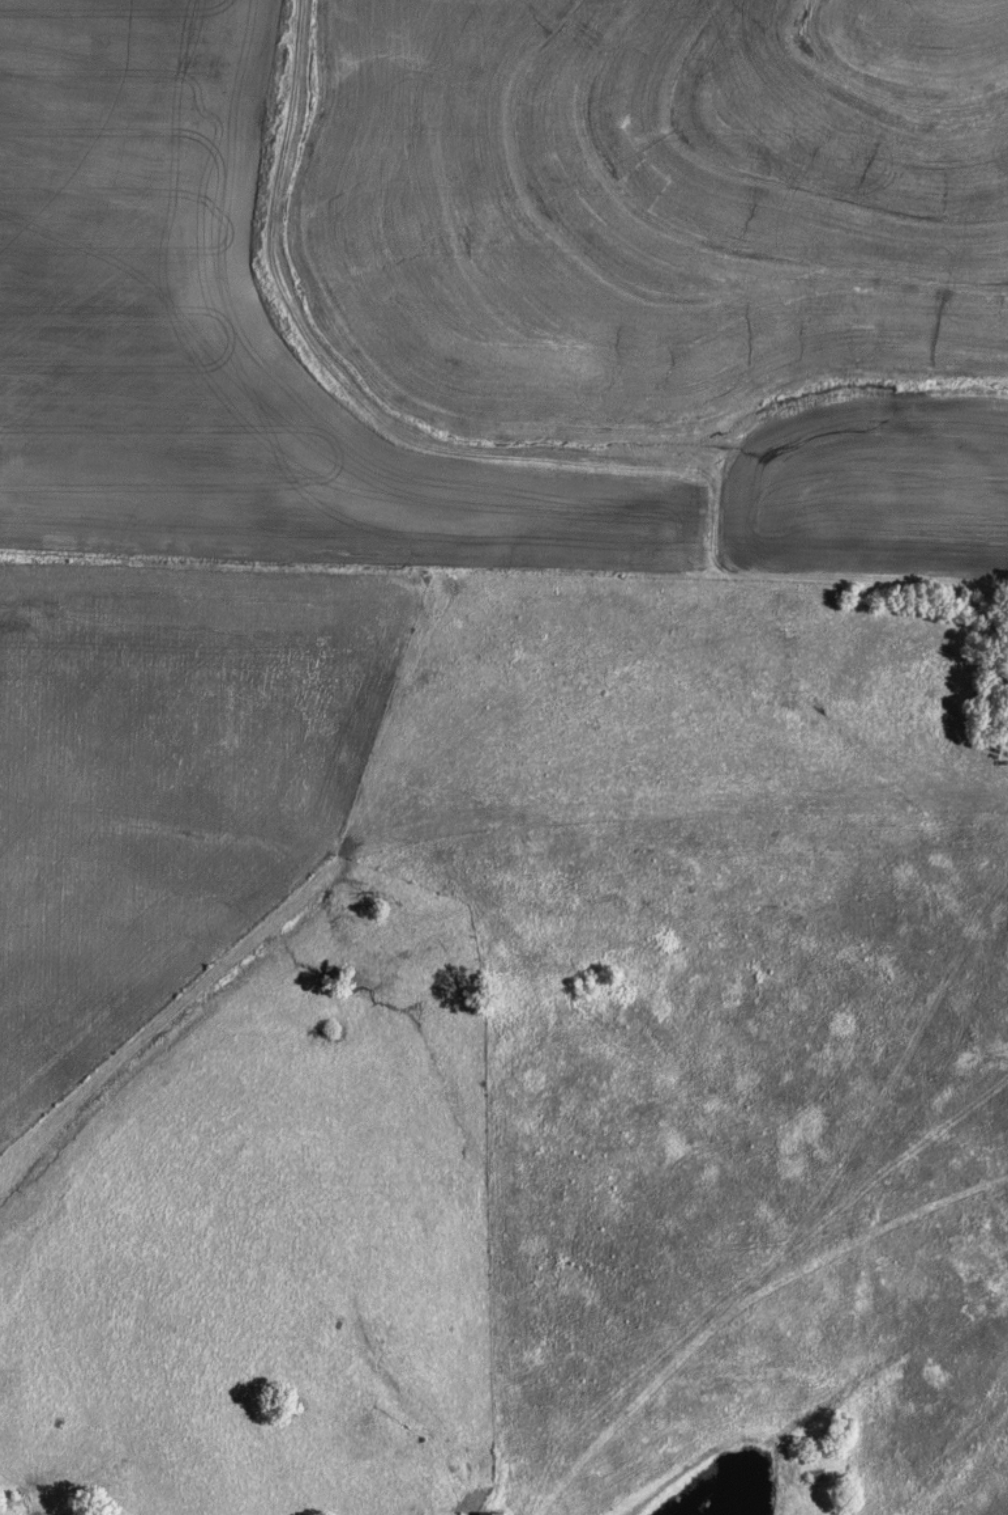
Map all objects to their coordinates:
road: (452, 843)
building: (484, 1513)

